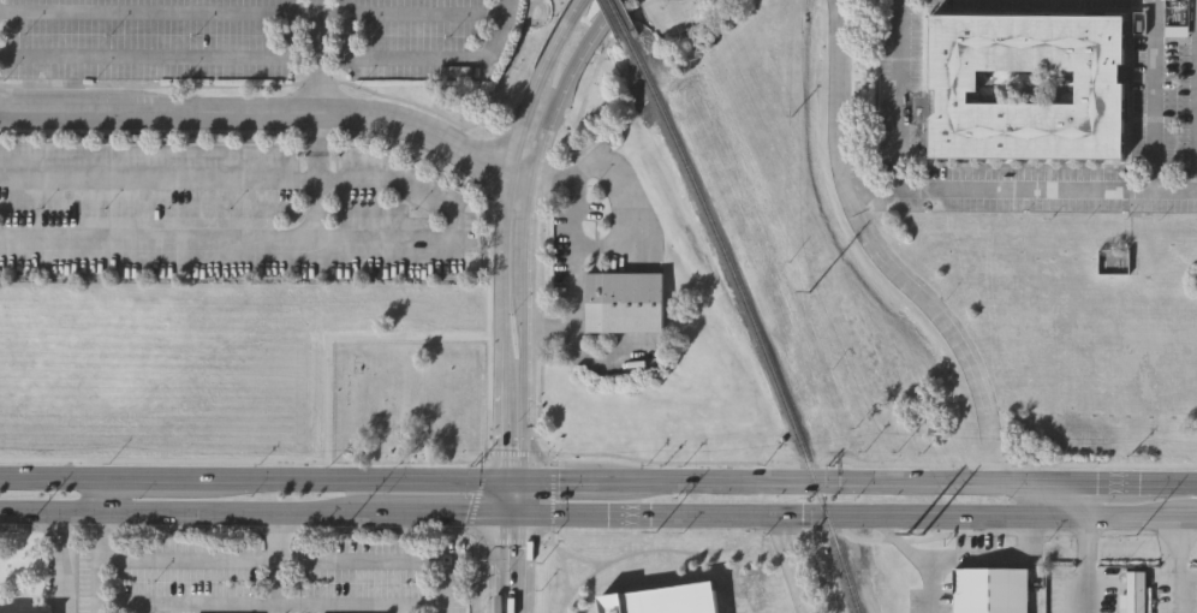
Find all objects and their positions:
road: (251, 13)
railway: (617, 17)
parking lot: (250, 37)
road: (165, 55)
road: (317, 56)
road: (428, 58)
road: (512, 59)
road: (542, 79)
road: (566, 82)
road: (249, 84)
building: (1100, 88)
road: (898, 95)
road: (260, 112)
road: (499, 141)
road: (525, 171)
road: (316, 179)
road: (1092, 189)
road: (1175, 191)
parking lot: (225, 214)
road: (504, 218)
road: (452, 226)
road: (868, 234)
road: (576, 257)
building: (1113, 258)
building: (621, 302)
road: (504, 304)
railway: (750, 320)
road: (526, 326)
park: (409, 398)
road: (501, 409)
road: (249, 477)
road: (824, 478)
traffic signals: (499, 480)
road: (510, 480)
traffic signals: (522, 480)
road: (573, 480)
road: (1052, 482)
road: (1109, 482)
road: (1167, 483)
road: (498, 498)
road: (520, 498)
road: (1024, 498)
road: (1080, 499)
road: (248, 512)
road: (761, 512)
traffic signals: (498, 516)
traffic signals: (520, 516)
road: (1052, 516)
road: (1126, 516)
road: (1184, 516)
road: (97, 518)
road: (274, 558)
road: (964, 558)
road: (60, 561)
road: (296, 561)
road: (792, 563)
road: (495, 564)
road: (518, 564)
road: (1080, 564)
road: (1172, 564)
road: (928, 585)
road: (97, 587)
building: (991, 589)
building: (1133, 593)
building: (662, 600)
road: (270, 603)
road: (139, 608)
road: (398, 608)

